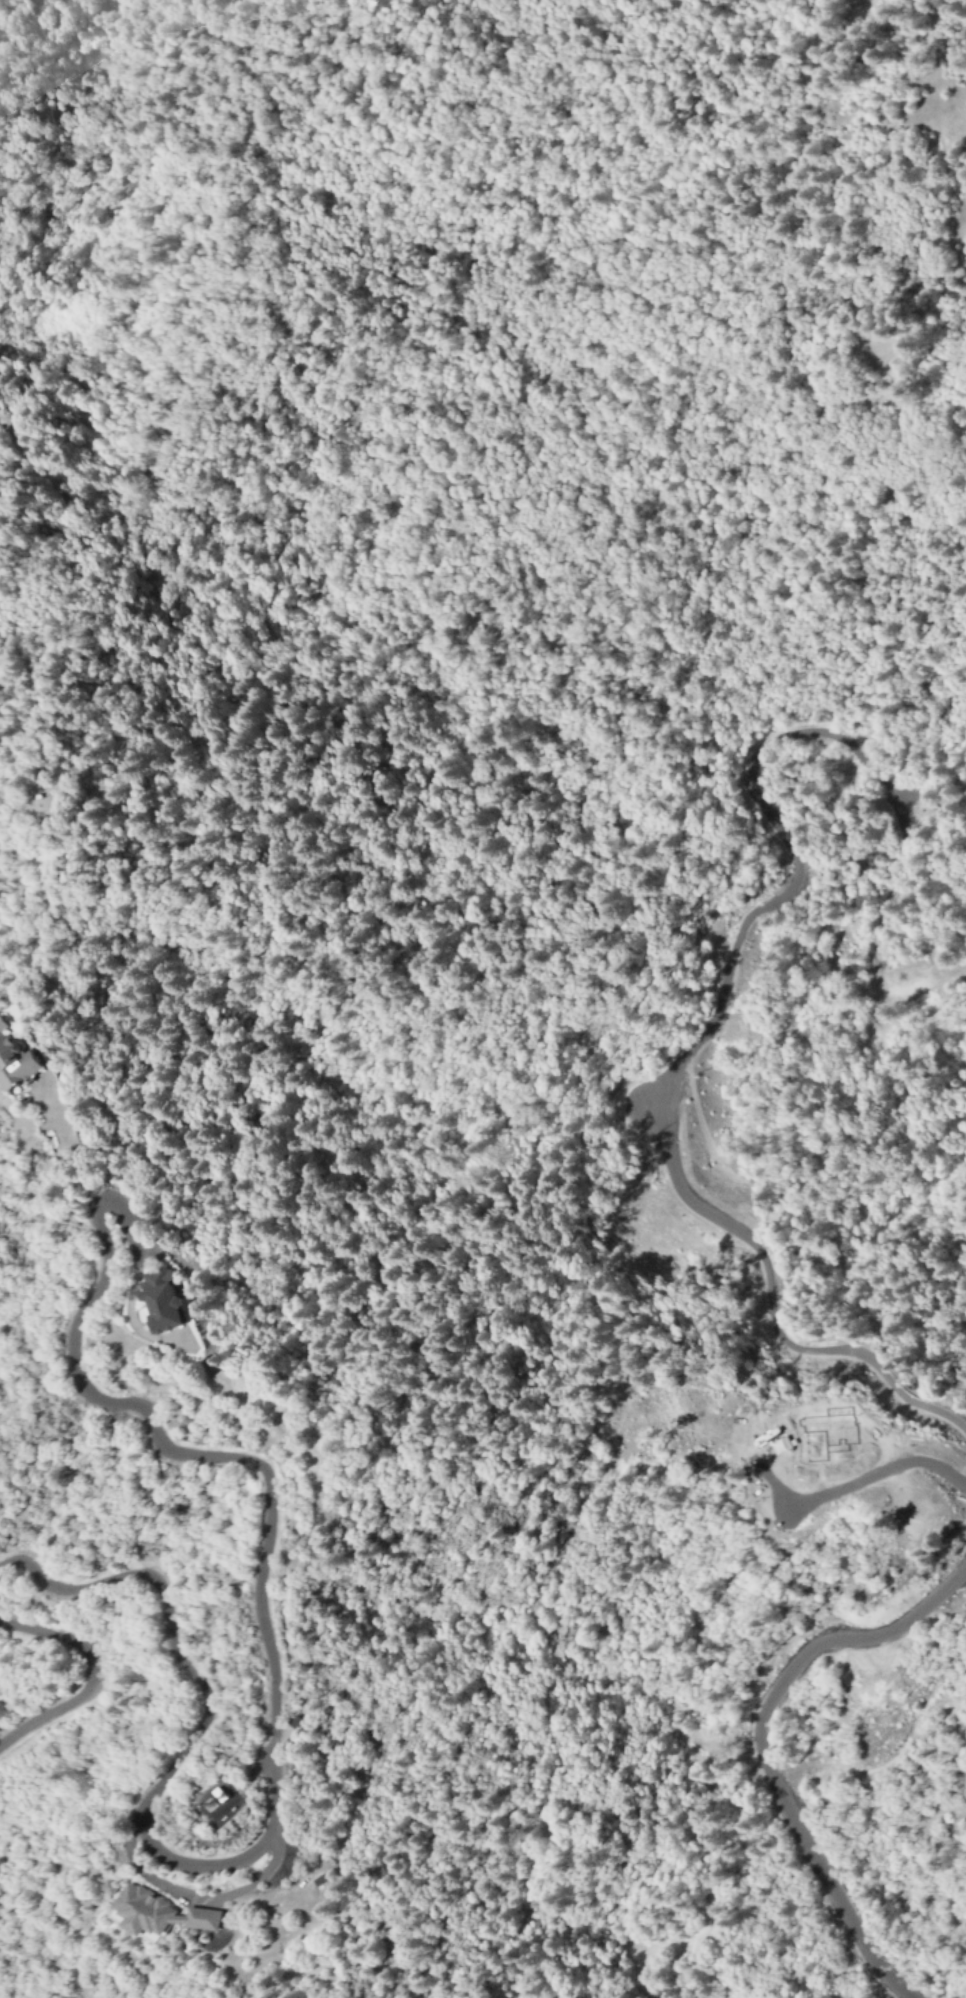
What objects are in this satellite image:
building: (10, 1064)
building: (148, 1300)
road: (774, 1307)
road: (83, 1673)
road: (763, 1743)
building: (208, 1808)
building: (156, 1916)

